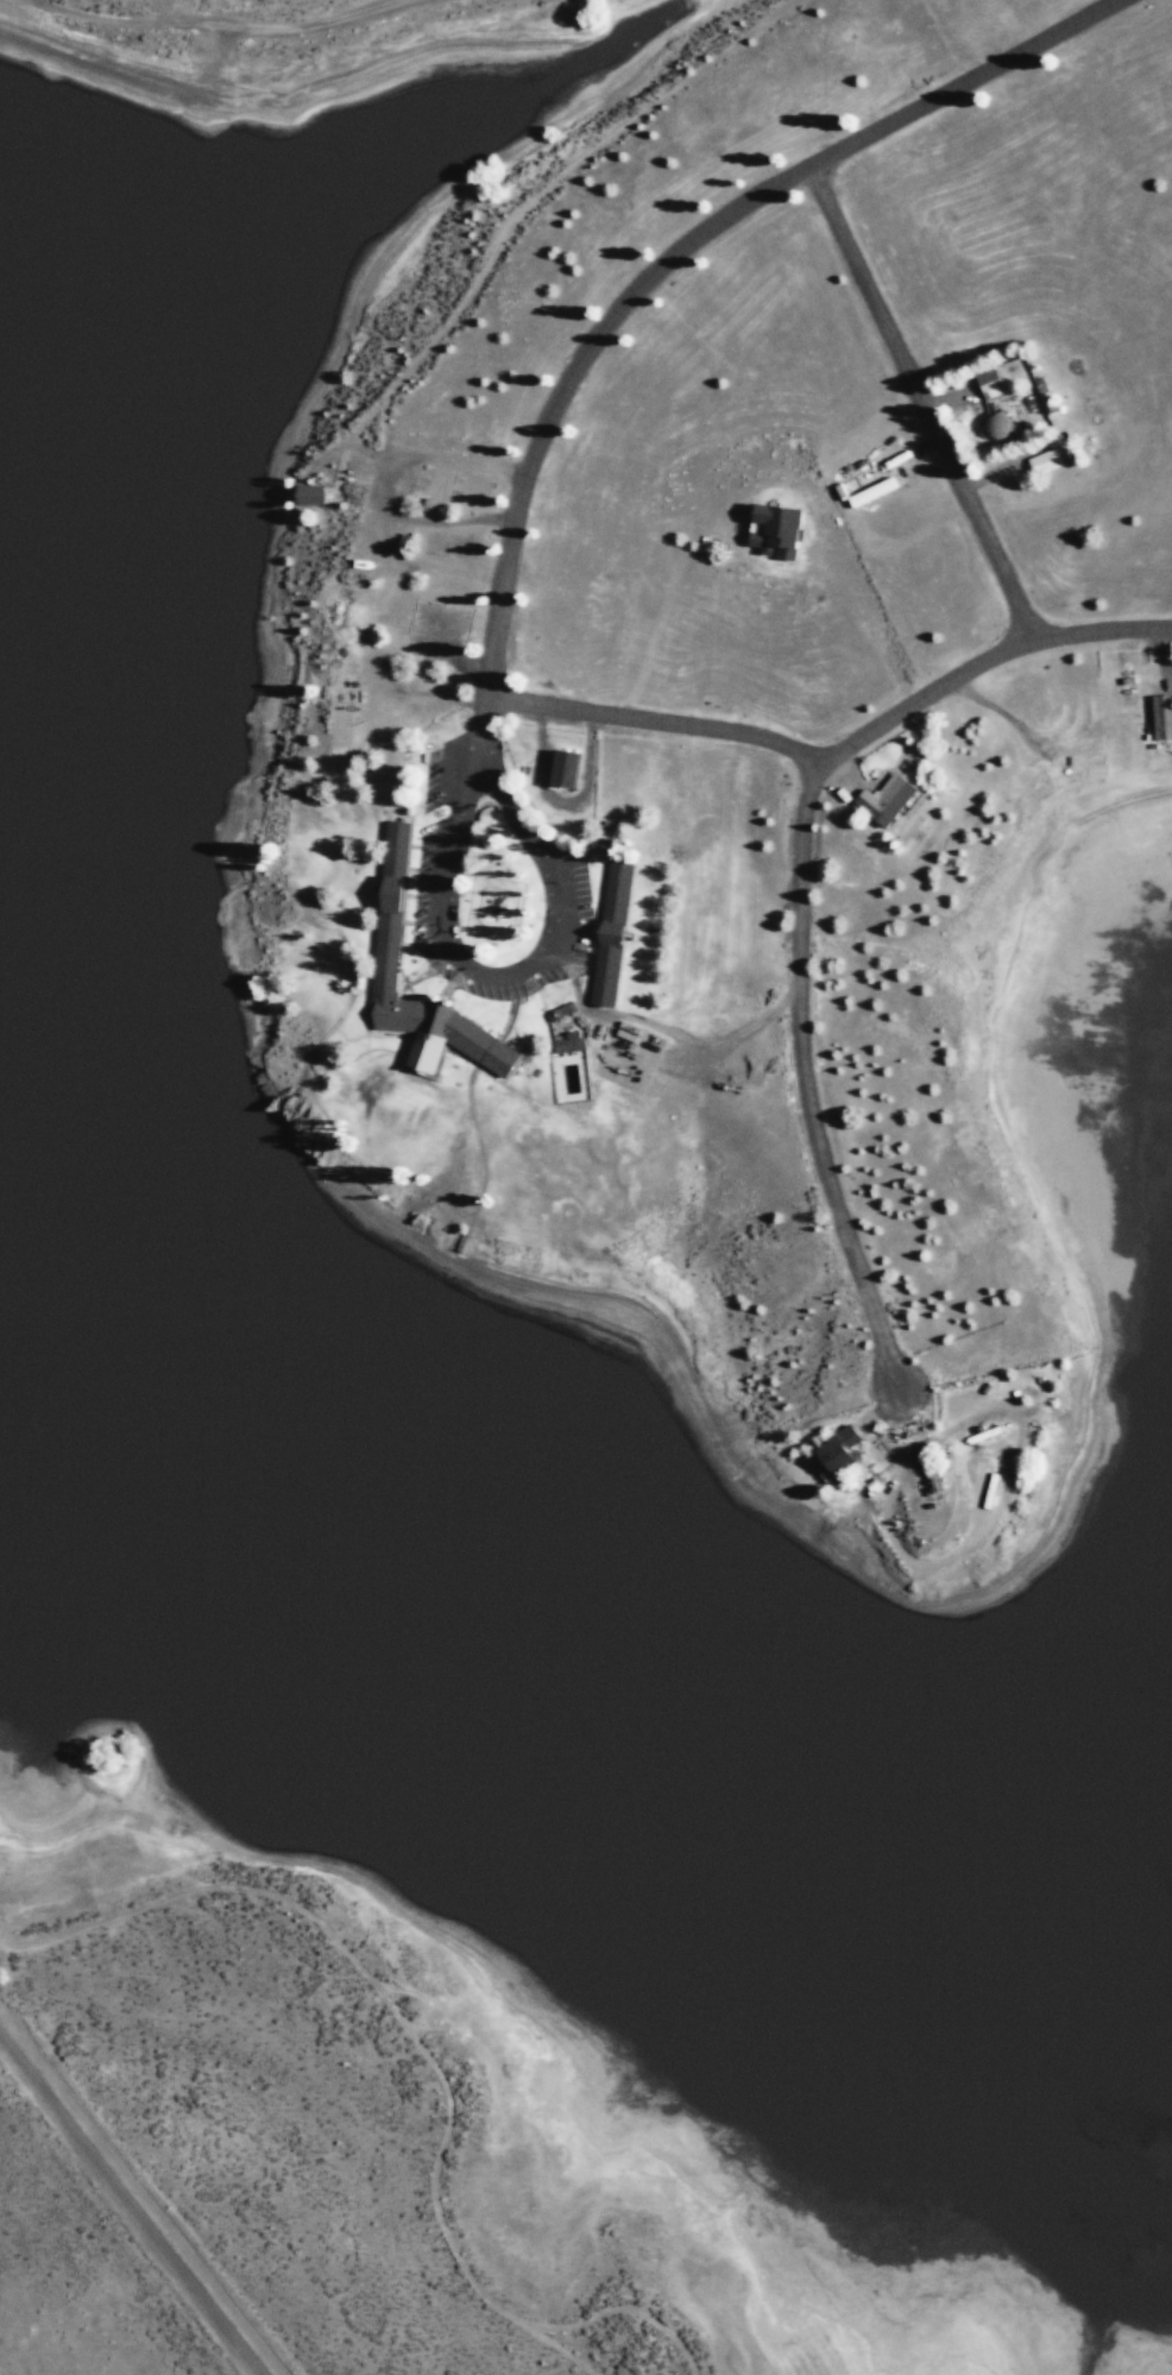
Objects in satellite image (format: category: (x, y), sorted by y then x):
road: (422, 4)
road: (694, 245)
building: (991, 383)
road: (931, 404)
building: (1046, 461)
building: (874, 492)
building: (311, 496)
building: (779, 531)
road: (576, 714)
building: (1162, 718)
road: (752, 743)
building: (567, 770)
building: (887, 801)
road: (557, 827)
road: (806, 880)
building: (612, 934)
building: (387, 958)
building: (557, 1014)
building: (569, 1042)
building: (839, 1451)
road: (131, 2203)

